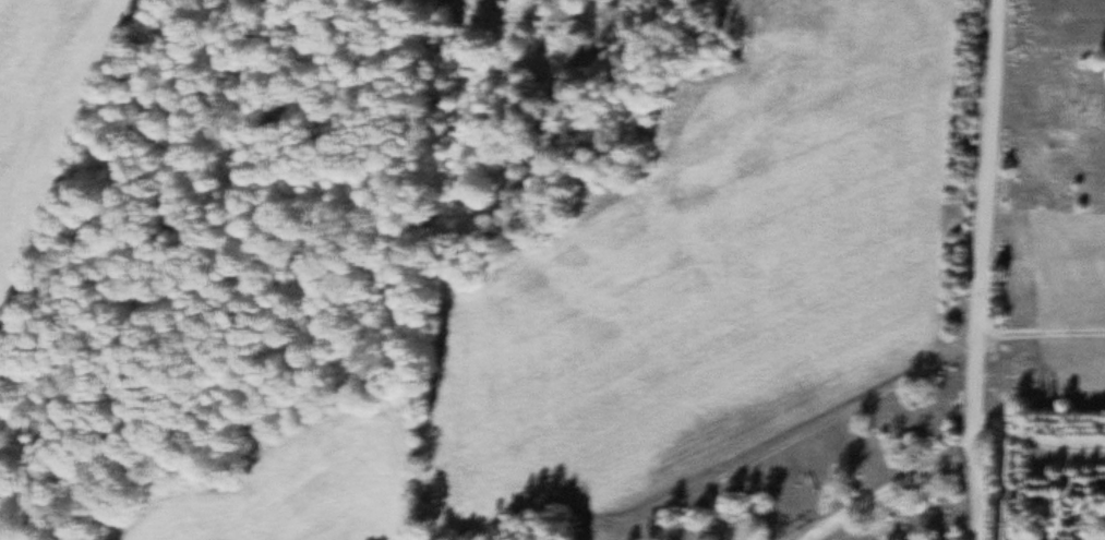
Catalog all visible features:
road: (984, 269)

